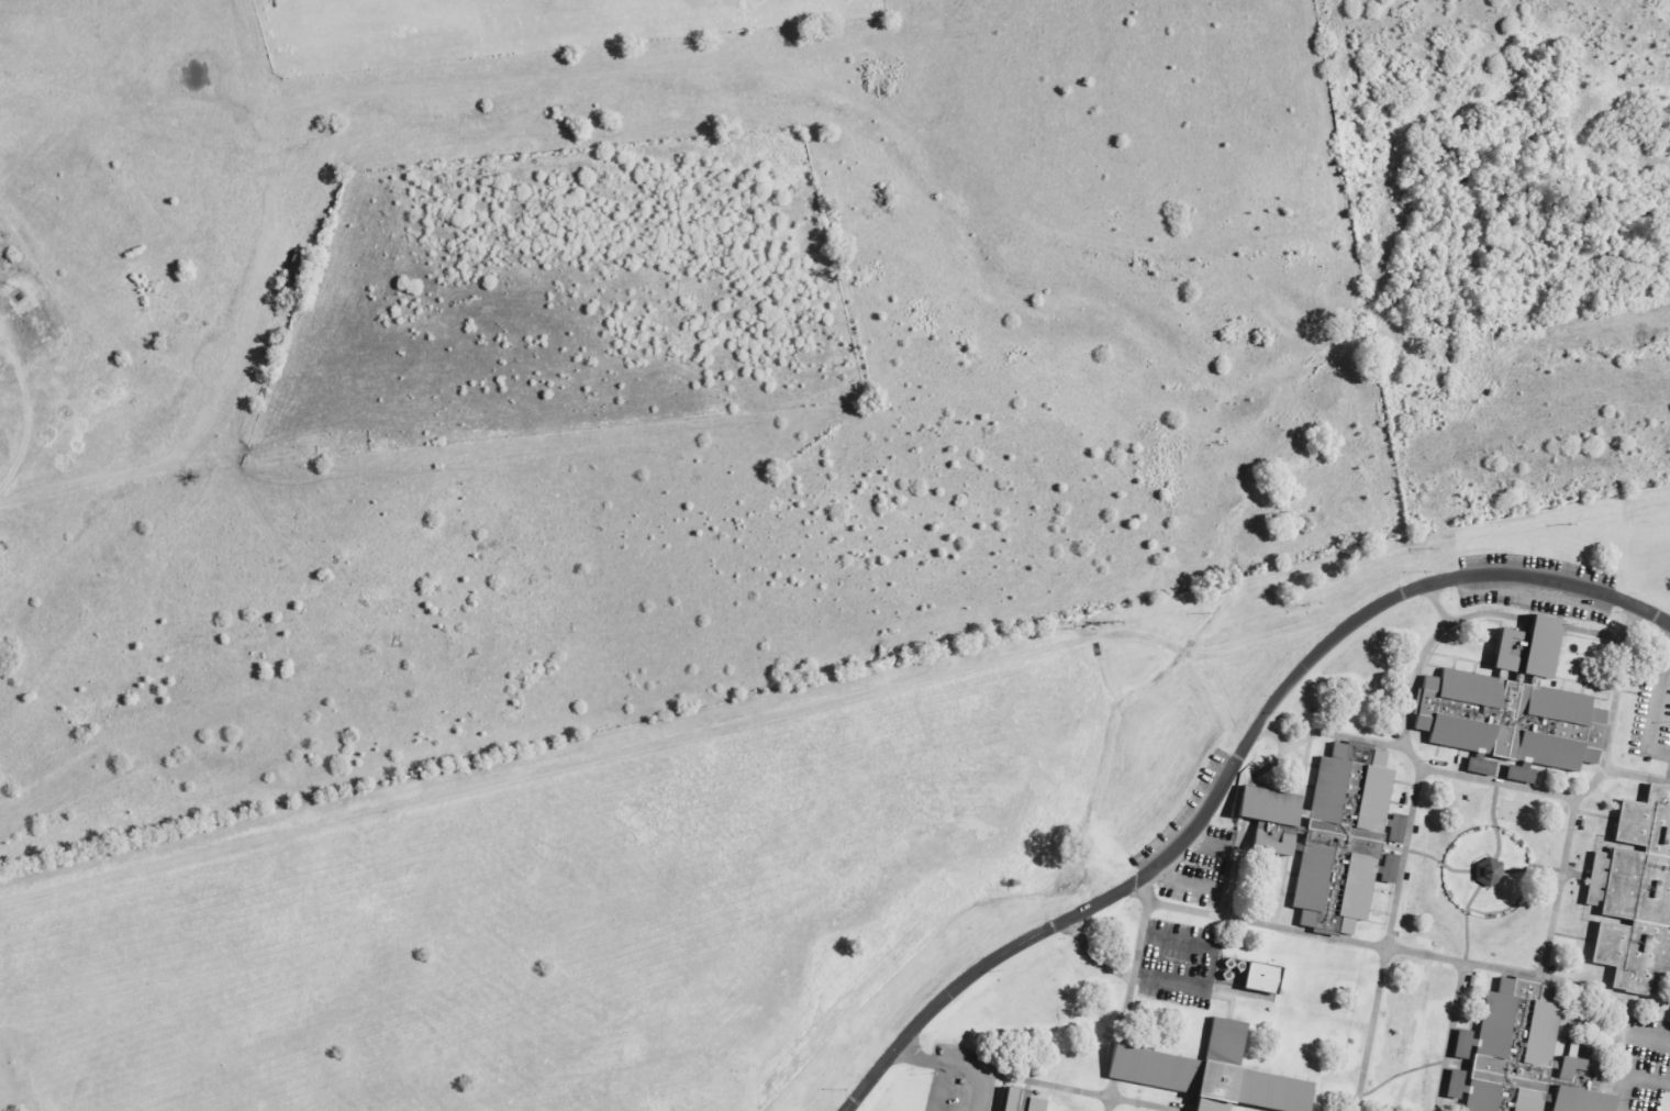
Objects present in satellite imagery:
road: (32, 418)
road: (192, 455)
road: (1660, 696)
building: (1512, 706)
road: (673, 740)
road: (1235, 767)
road: (1547, 793)
building: (1356, 795)
building: (1268, 807)
road: (1491, 821)
building: (1324, 829)
building: (1277, 846)
road: (1405, 848)
road: (1437, 863)
road: (1530, 867)
building: (1488, 873)
building: (1310, 884)
building: (1360, 887)
road: (1556, 888)
building: (1634, 896)
road: (1388, 951)
building: (1262, 977)
road: (1454, 997)
building: (1461, 1044)
building: (1523, 1057)
road: (944, 1065)
building: (1212, 1073)
road: (1081, 1092)
building: (1020, 1100)
road: (1106, 1104)

